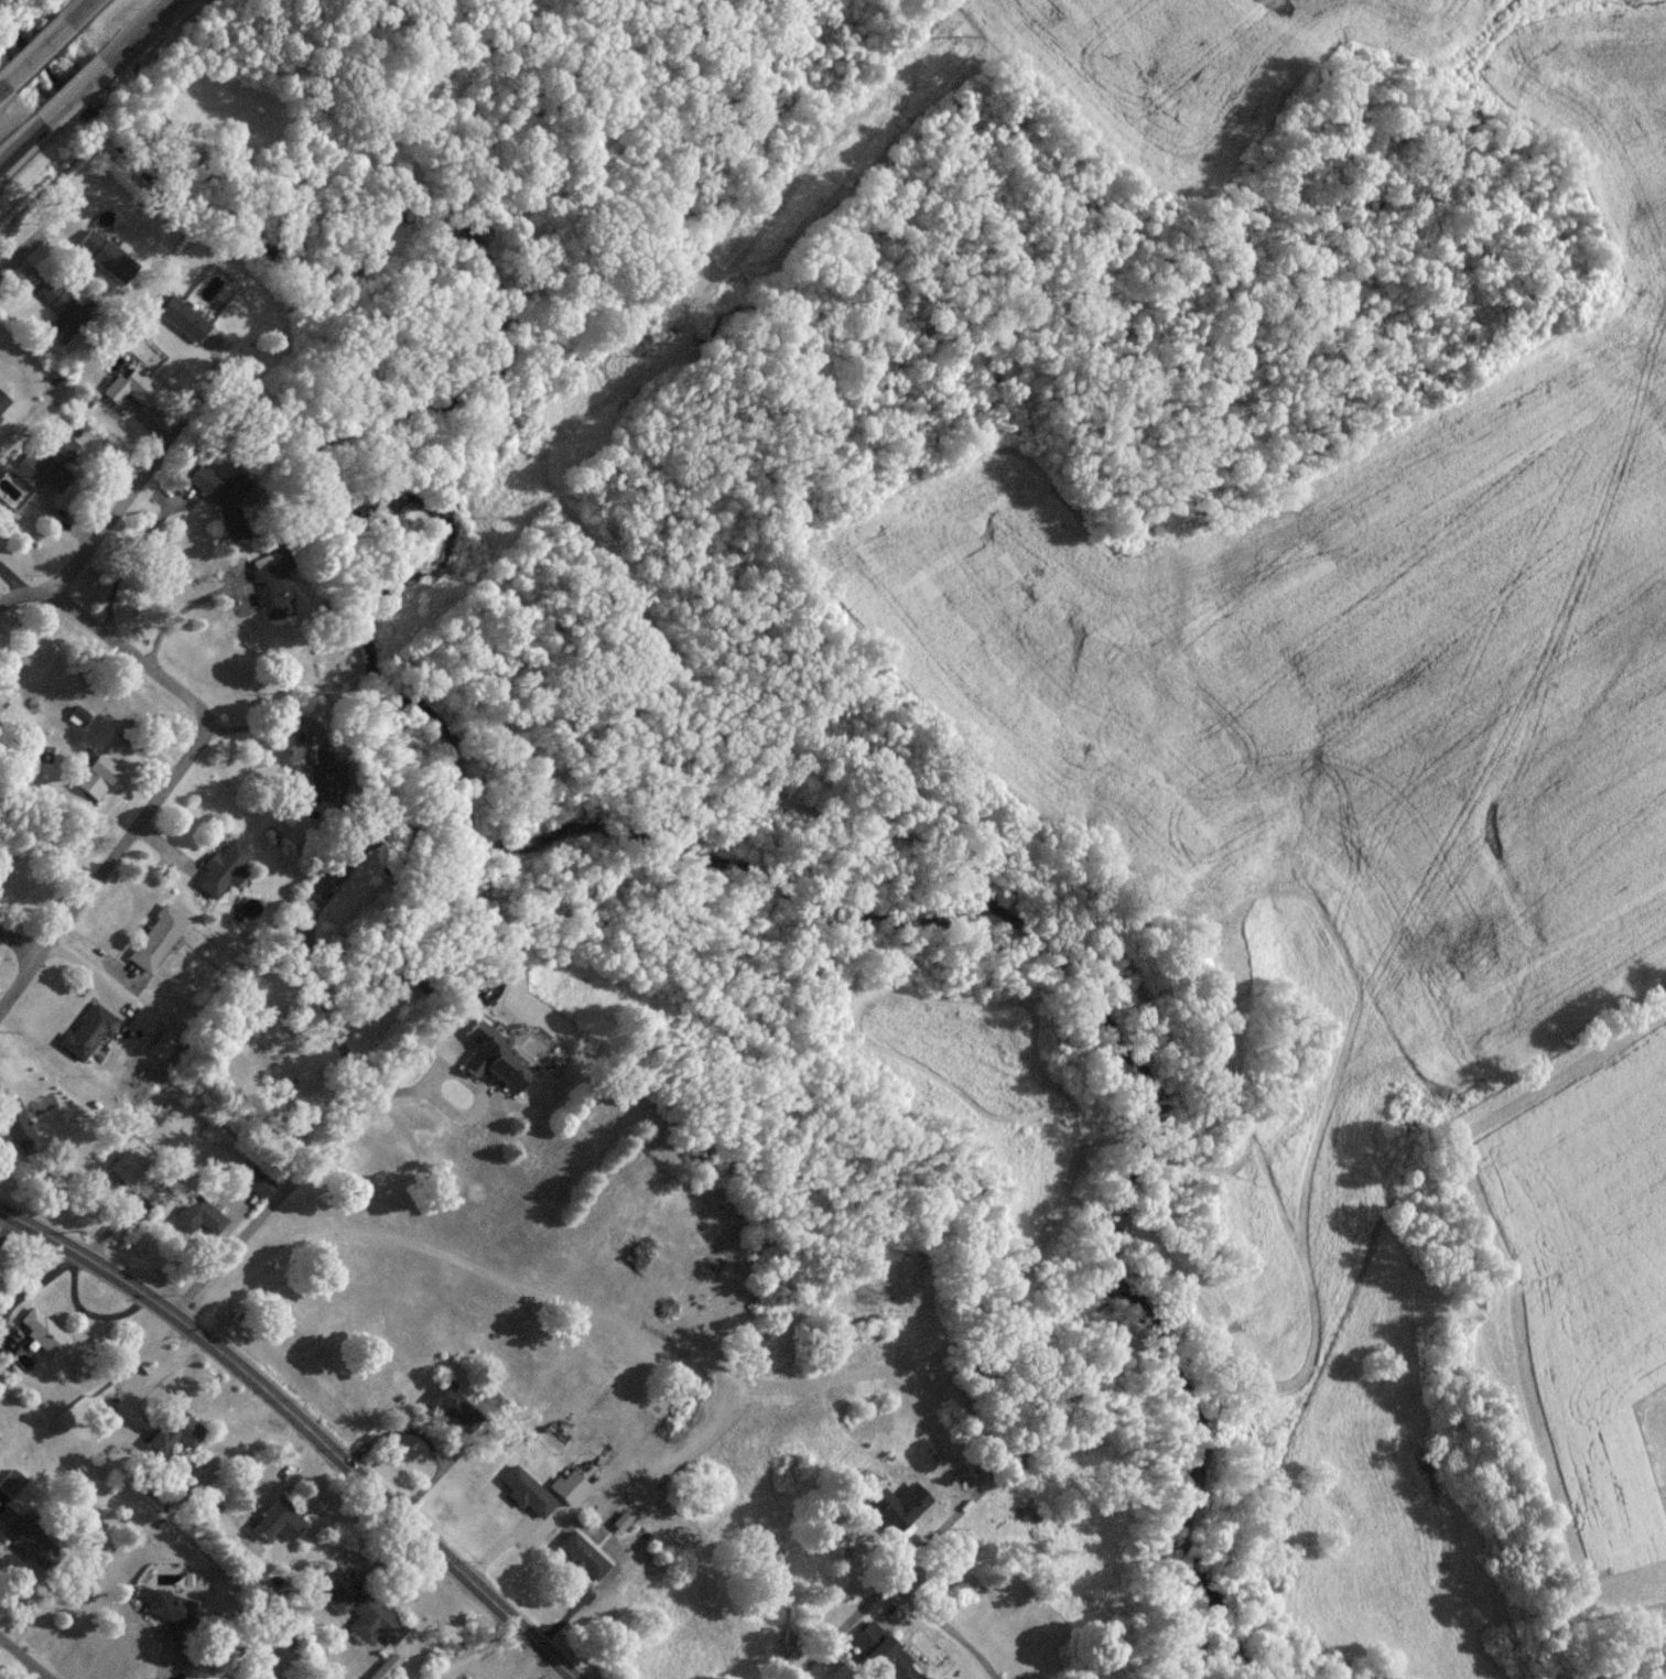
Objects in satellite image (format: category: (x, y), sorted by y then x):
road: (78, 15)
road: (138, 34)
road: (33, 62)
park: (199, 88)
road: (1, 94)
road: (69, 99)
road: (20, 147)
road: (36, 248)
building: (102, 263)
building: (181, 327)
building: (0, 409)
road: (122, 513)
building: (271, 591)
road: (175, 615)
road: (192, 762)
building: (218, 875)
building: (154, 945)
road: (22, 952)
road: (22, 988)
building: (84, 1039)
road: (339, 1129)
building: (150, 1200)
building: (220, 1216)
road: (129, 1287)
building: (41, 1335)
building: (176, 1430)
building: (9, 1483)
building: (524, 1498)
building: (277, 1523)
road: (408, 1528)
building: (24, 1539)
road: (910, 1556)
building: (582, 1562)
building: (164, 1608)
road: (894, 1615)
building: (365, 1617)
road: (24, 1658)
road: (163, 1658)
building: (383, 1668)

